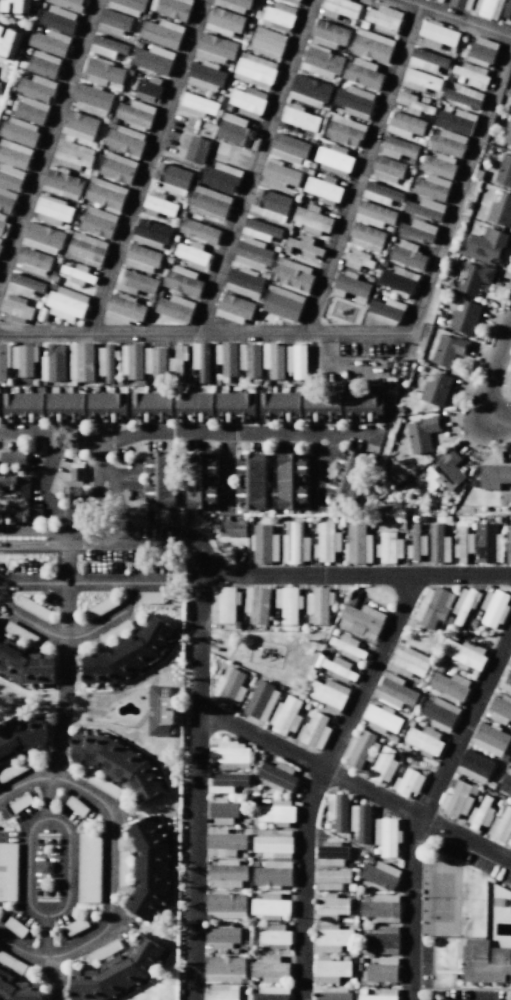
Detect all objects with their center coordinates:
building: (293, 1)
building: (438, 1)
building: (66, 4)
building: (461, 4)
building: (233, 5)
building: (127, 6)
building: (15, 7)
building: (173, 8)
building: (339, 8)
building: (487, 8)
building: (506, 10)
building: (277, 17)
road: (458, 17)
building: (57, 19)
building: (384, 19)
building: (224, 21)
building: (112, 22)
building: (161, 33)
building: (439, 33)
building: (328, 34)
building: (10, 42)
building: (49, 42)
building: (266, 42)
building: (372, 45)
building: (106, 47)
building: (215, 48)
building: (481, 51)
building: (153, 59)
building: (427, 60)
building: (321, 62)
building: (42, 64)
building: (254, 70)
building: (362, 73)
building: (471, 74)
building: (204, 75)
building: (420, 81)
building: (36, 88)
building: (146, 88)
building: (0, 89)
building: (309, 91)
building: (463, 96)
building: (90, 98)
building: (247, 101)
building: (354, 101)
building: (413, 103)
building: (195, 105)
building: (31, 110)
building: (134, 113)
building: (299, 118)
building: (455, 121)
building: (404, 124)
building: (78, 125)
building: (234, 130)
building: (18, 131)
building: (344, 131)
building: (507, 133)
road: (47, 137)
building: (124, 140)
building: (448, 142)
building: (397, 148)
building: (288, 149)
building: (196, 150)
building: (14, 154)
building: (72, 155)
building: (333, 159)
building: (438, 165)
road: (144, 166)
road: (253, 166)
road: (362, 167)
building: (116, 168)
building: (387, 169)
building: (504, 170)
building: (280, 175)
building: (220, 177)
building: (10, 178)
building: (172, 178)
road: (460, 183)
building: (61, 184)
building: (431, 187)
building: (323, 189)
building: (104, 194)
building: (381, 194)
building: (6, 201)
building: (209, 202)
building: (271, 204)
building: (158, 205)
building: (424, 208)
building: (500, 210)
building: (52, 211)
building: (373, 214)
building: (311, 219)
building: (97, 222)
building: (3, 225)
building: (260, 230)
building: (418, 230)
building: (199, 231)
building: (150, 234)
building: (366, 237)
building: (41, 238)
building: (0, 240)
building: (485, 245)
building: (302, 246)
building: (85, 250)
building: (252, 254)
building: (406, 254)
building: (193, 255)
building: (142, 259)
building: (357, 260)
building: (33, 261)
building: (77, 274)
building: (292, 274)
building: (473, 278)
building: (182, 281)
building: (397, 281)
building: (134, 282)
building: (243, 283)
building: (23, 285)
building: (349, 286)
building: (65, 303)
building: (282, 303)
building: (16, 308)
building: (124, 308)
building: (174, 308)
building: (233, 308)
building: (464, 318)
road: (204, 332)
building: (448, 349)
building: (226, 358)
building: (23, 359)
building: (249, 359)
building: (154, 360)
building: (272, 360)
building: (131, 361)
building: (177, 361)
building: (200, 361)
building: (295, 361)
building: (3, 362)
building: (80, 362)
building: (53, 363)
building: (105, 363)
road: (490, 373)
building: (435, 390)
building: (24, 406)
building: (65, 406)
building: (106, 406)
building: (154, 406)
building: (194, 406)
building: (235, 406)
building: (282, 406)
building: (323, 406)
building: (364, 406)
road: (184, 433)
building: (422, 433)
road: (101, 454)
building: (13, 458)
road: (227, 471)
road: (317, 471)
building: (77, 472)
building: (442, 472)
road: (44, 476)
building: (494, 476)
building: (346, 477)
building: (160, 480)
building: (200, 480)
building: (250, 480)
building: (289, 481)
building: (8, 483)
building: (23, 489)
road: (118, 499)
road: (96, 500)
building: (75, 504)
building: (13, 515)
building: (35, 515)
building: (232, 528)
road: (29, 532)
road: (142, 537)
building: (325, 542)
building: (487, 543)
road: (30, 544)
building: (263, 544)
building: (294, 544)
building: (357, 544)
building: (416, 544)
building: (462, 544)
building: (508, 544)
building: (438, 545)
building: (388, 547)
road: (355, 575)
road: (83, 583)
building: (151, 597)
building: (224, 603)
building: (287, 604)
building: (256, 605)
building: (318, 605)
building: (463, 606)
building: (32, 607)
building: (100, 607)
building: (432, 607)
building: (493, 608)
building: (361, 620)
building: (114, 632)
building: (20, 633)
road: (72, 638)
building: (347, 647)
park: (270, 653)
building: (464, 654)
building: (129, 655)
road: (65, 658)
building: (510, 658)
building: (409, 662)
building: (24, 665)
building: (339, 669)
building: (505, 681)
building: (449, 686)
building: (229, 688)
building: (394, 692)
building: (328, 695)
building: (260, 701)
building: (499, 709)
building: (159, 710)
building: (439, 714)
building: (285, 716)
building: (380, 718)
building: (314, 731)
building: (20, 736)
building: (489, 739)
building: (424, 740)
building: (361, 750)
building: (229, 755)
building: (117, 762)
building: (383, 765)
building: (474, 766)
building: (13, 769)
building: (276, 776)
road: (318, 777)
road: (24, 781)
building: (225, 782)
building: (407, 782)
building: (506, 783)
road: (196, 784)
building: (102, 785)
road: (354, 785)
road: (45, 798)
building: (457, 800)
building: (20, 802)
road: (424, 805)
building: (76, 806)
building: (337, 811)
building: (222, 812)
building: (277, 812)
building: (480, 815)
building: (360, 822)
building: (501, 827)
road: (67, 833)
building: (386, 836)
building: (224, 842)
building: (272, 843)
building: (330, 854)
building: (88, 867)
building: (123, 868)
building: (149, 868)
building: (8, 871)
road: (110, 871)
building: (226, 873)
building: (272, 874)
building: (380, 875)
building: (331, 879)
park: (441, 898)
building: (269, 906)
building: (330, 907)
building: (381, 908)
building: (75, 926)
building: (14, 927)
building: (221, 935)
building: (274, 936)
road: (45, 937)
building: (331, 938)
building: (383, 939)
building: (103, 950)
building: (477, 950)
road: (20, 951)
building: (498, 956)
building: (11, 963)
building: (224, 969)
building: (268, 969)
building: (330, 969)
building: (381, 970)
building: (484, 971)
building: (117, 973)
road: (56, 978)
building: (16, 990)
building: (221, 992)
building: (270, 993)
building: (331, 994)
building: (380, 995)

